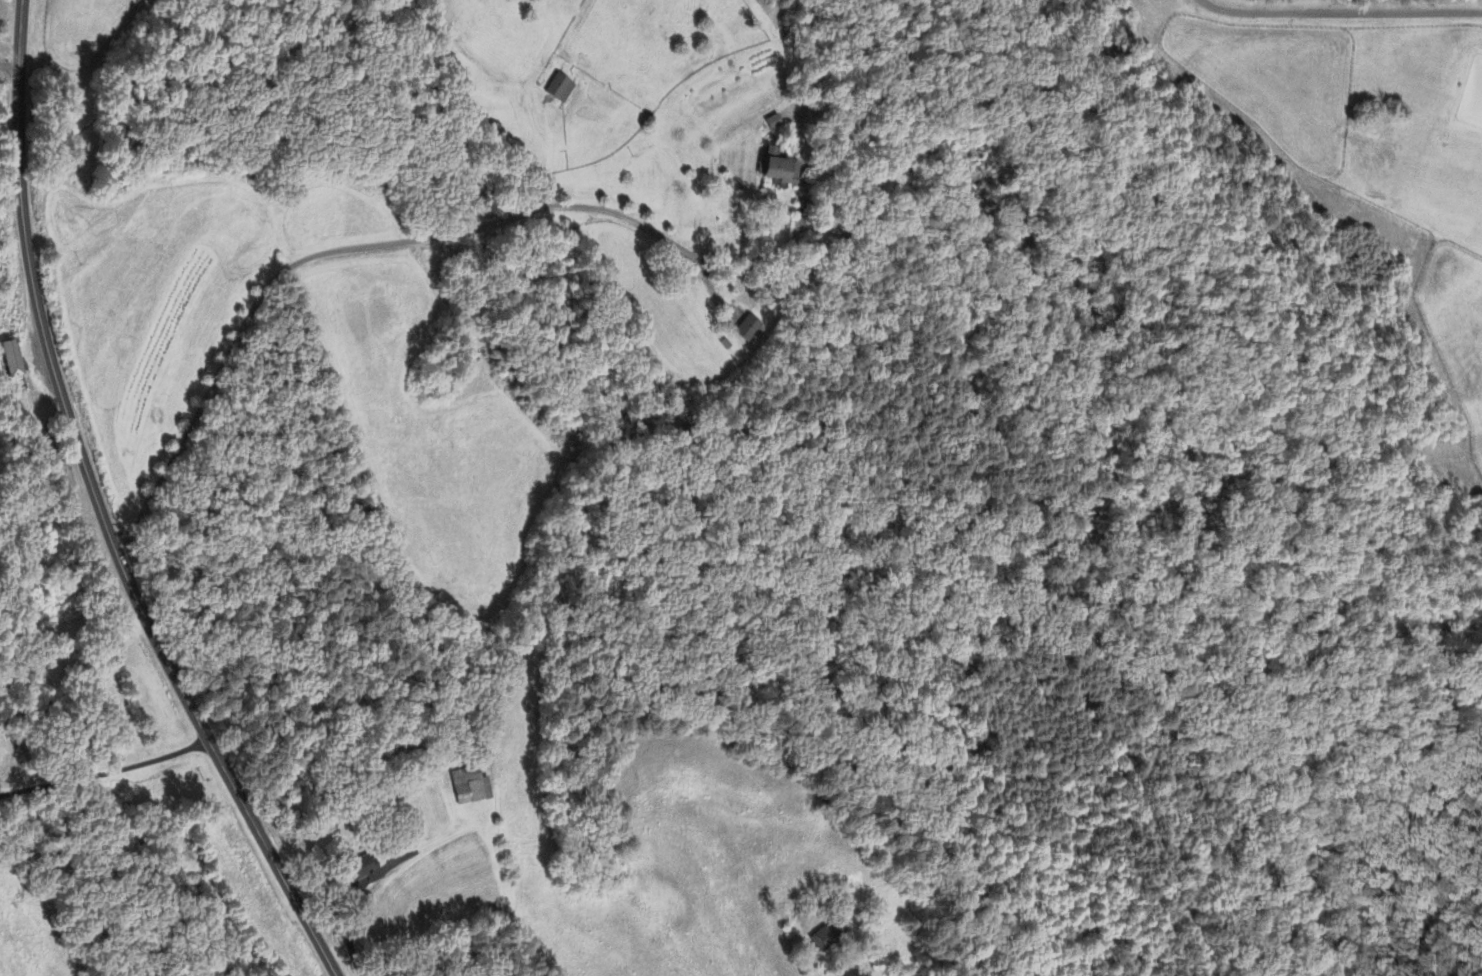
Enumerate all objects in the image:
road: (9, 55)
road: (9, 70)
building: (559, 89)
building: (773, 124)
building: (777, 169)
road: (411, 241)
building: (750, 329)
building: (10, 360)
road: (99, 511)
road: (105, 774)
building: (469, 787)
building: (360, 871)
building: (822, 938)

